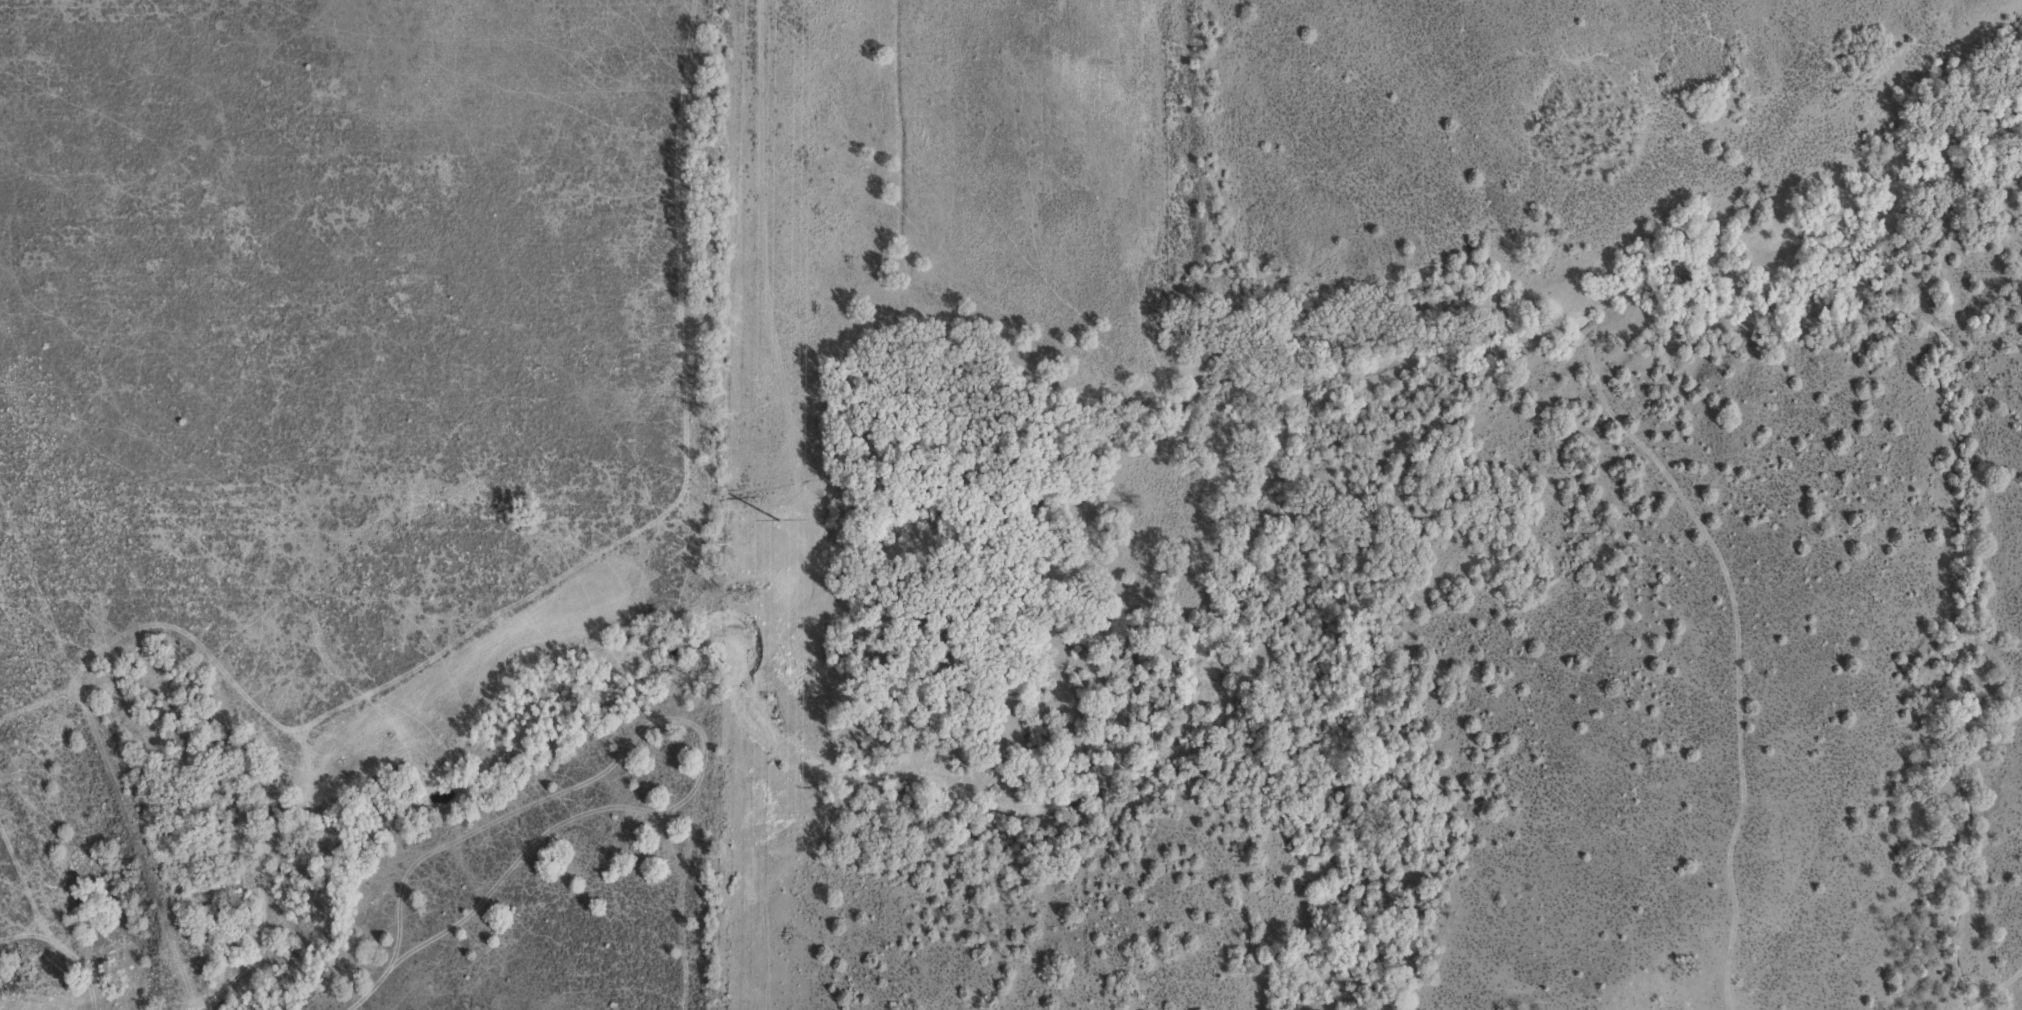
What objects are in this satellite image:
crop: (1011, 505)
power tower: (778, 520)
railway: (85, 823)

